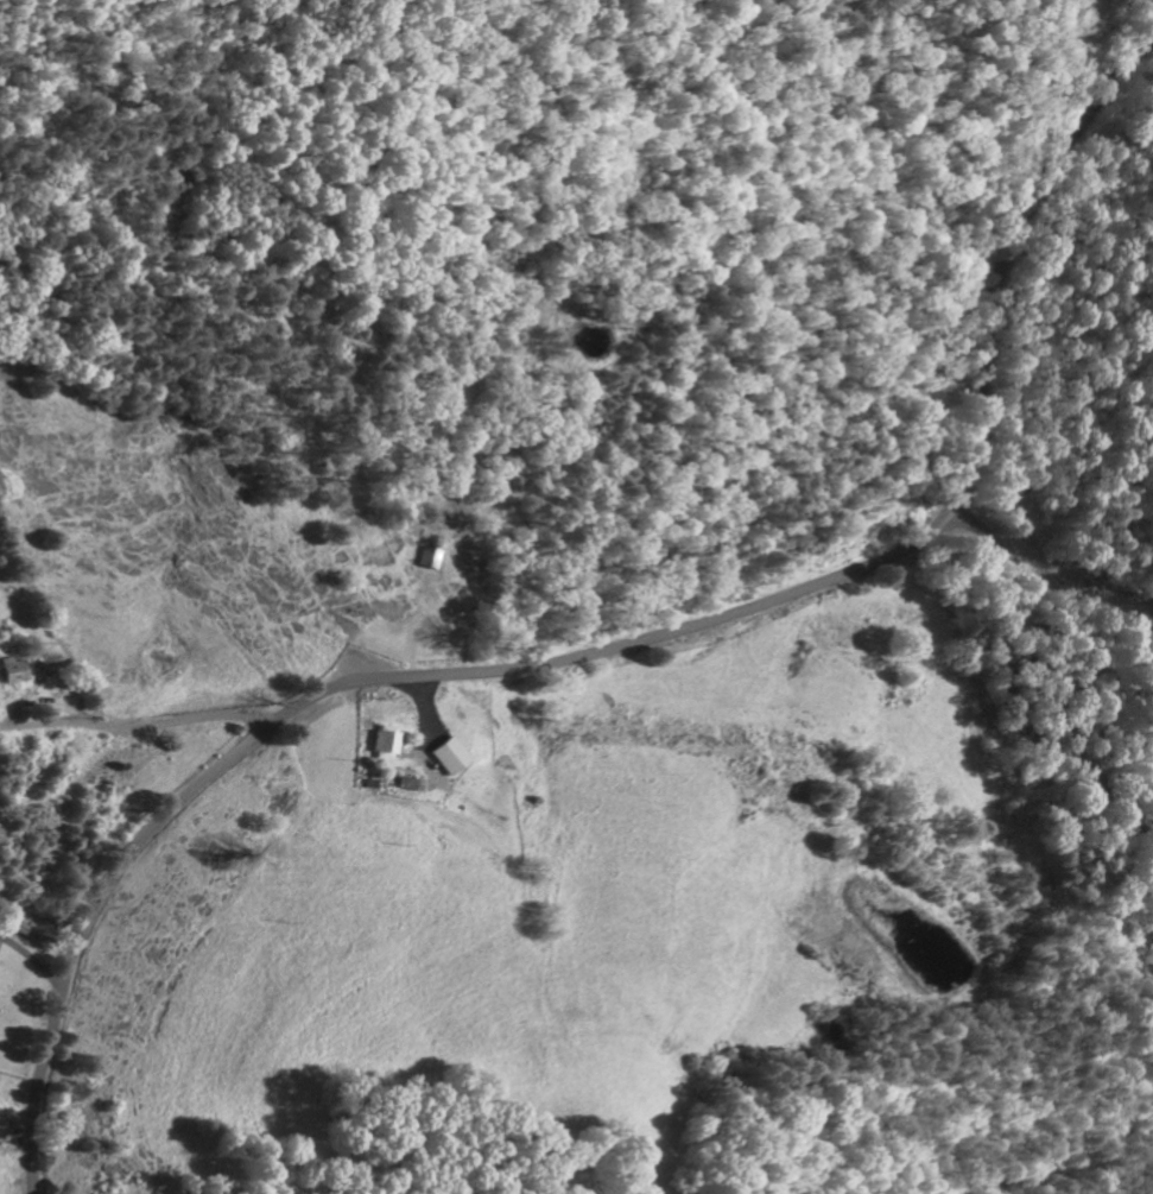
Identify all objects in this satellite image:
building: (426, 556)
road: (607, 649)
building: (11, 669)
road: (1008, 688)
building: (381, 744)
building: (446, 754)
building: (1151, 762)

